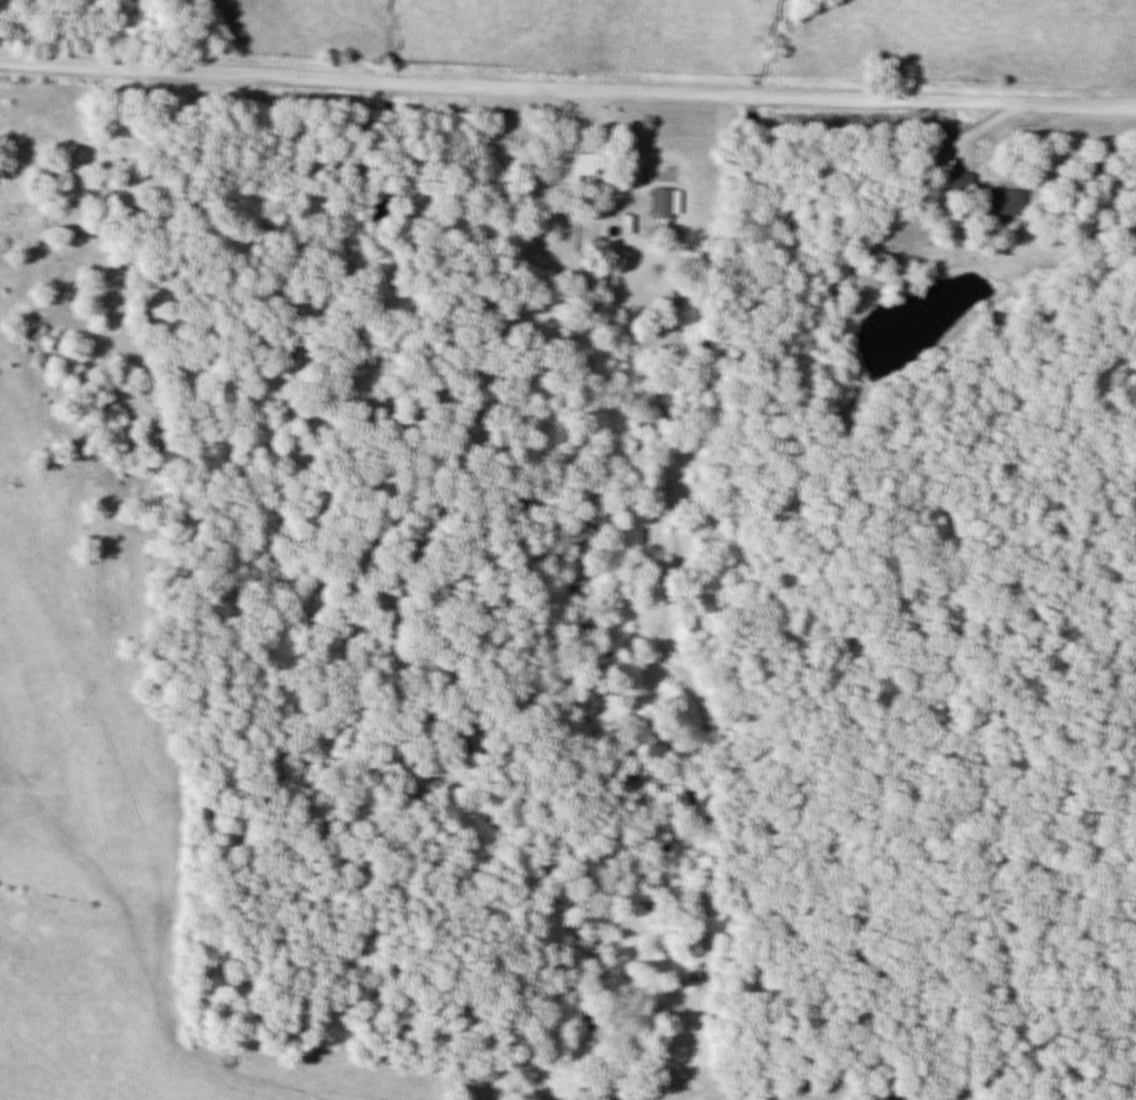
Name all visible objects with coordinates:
road: (567, 81)
building: (566, 165)
building: (954, 180)
building: (659, 200)
building: (996, 200)

